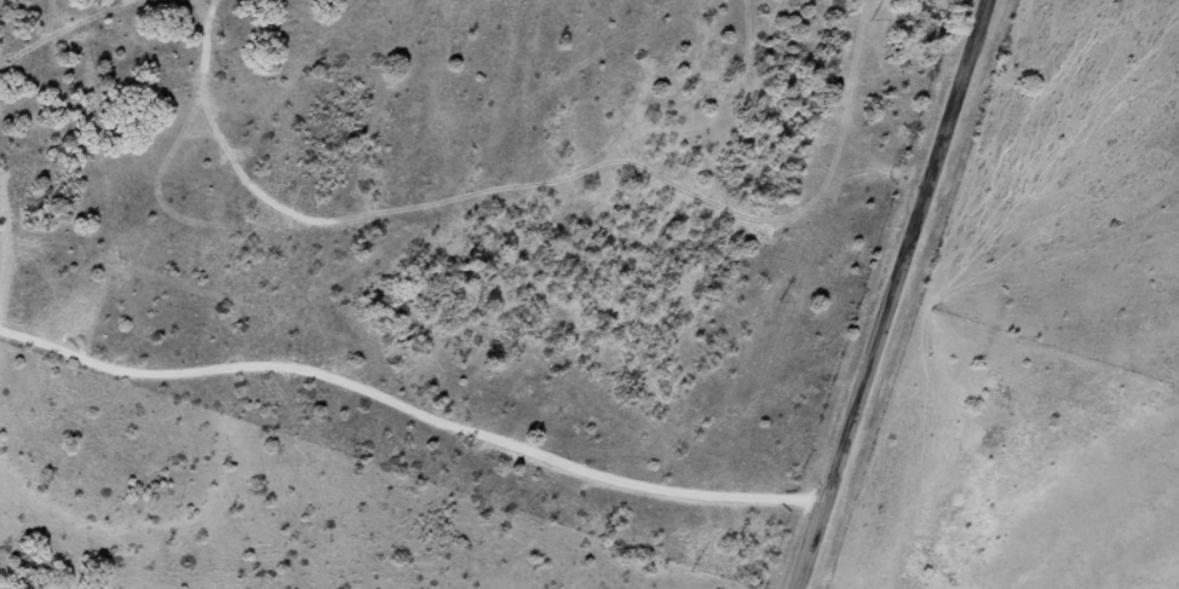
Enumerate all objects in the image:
road: (891, 294)

